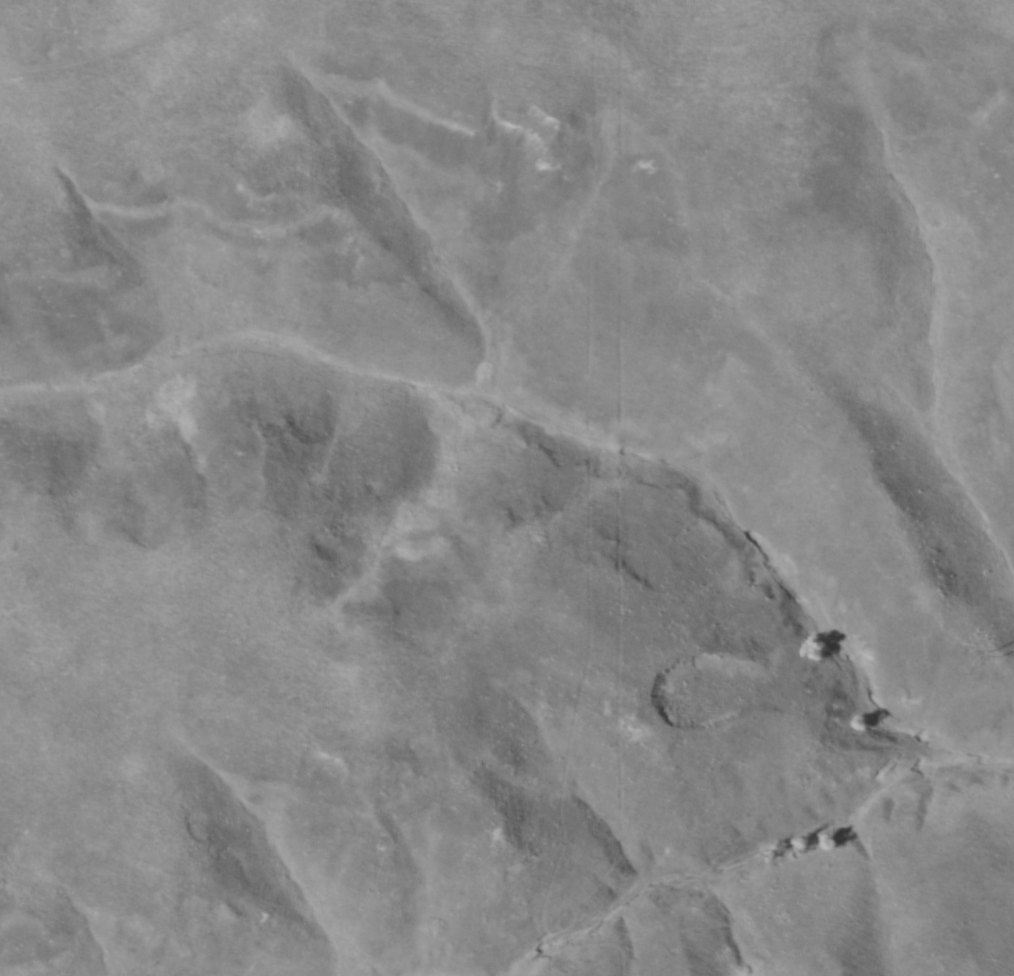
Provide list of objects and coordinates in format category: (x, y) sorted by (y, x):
power tower: (1001, 652)

